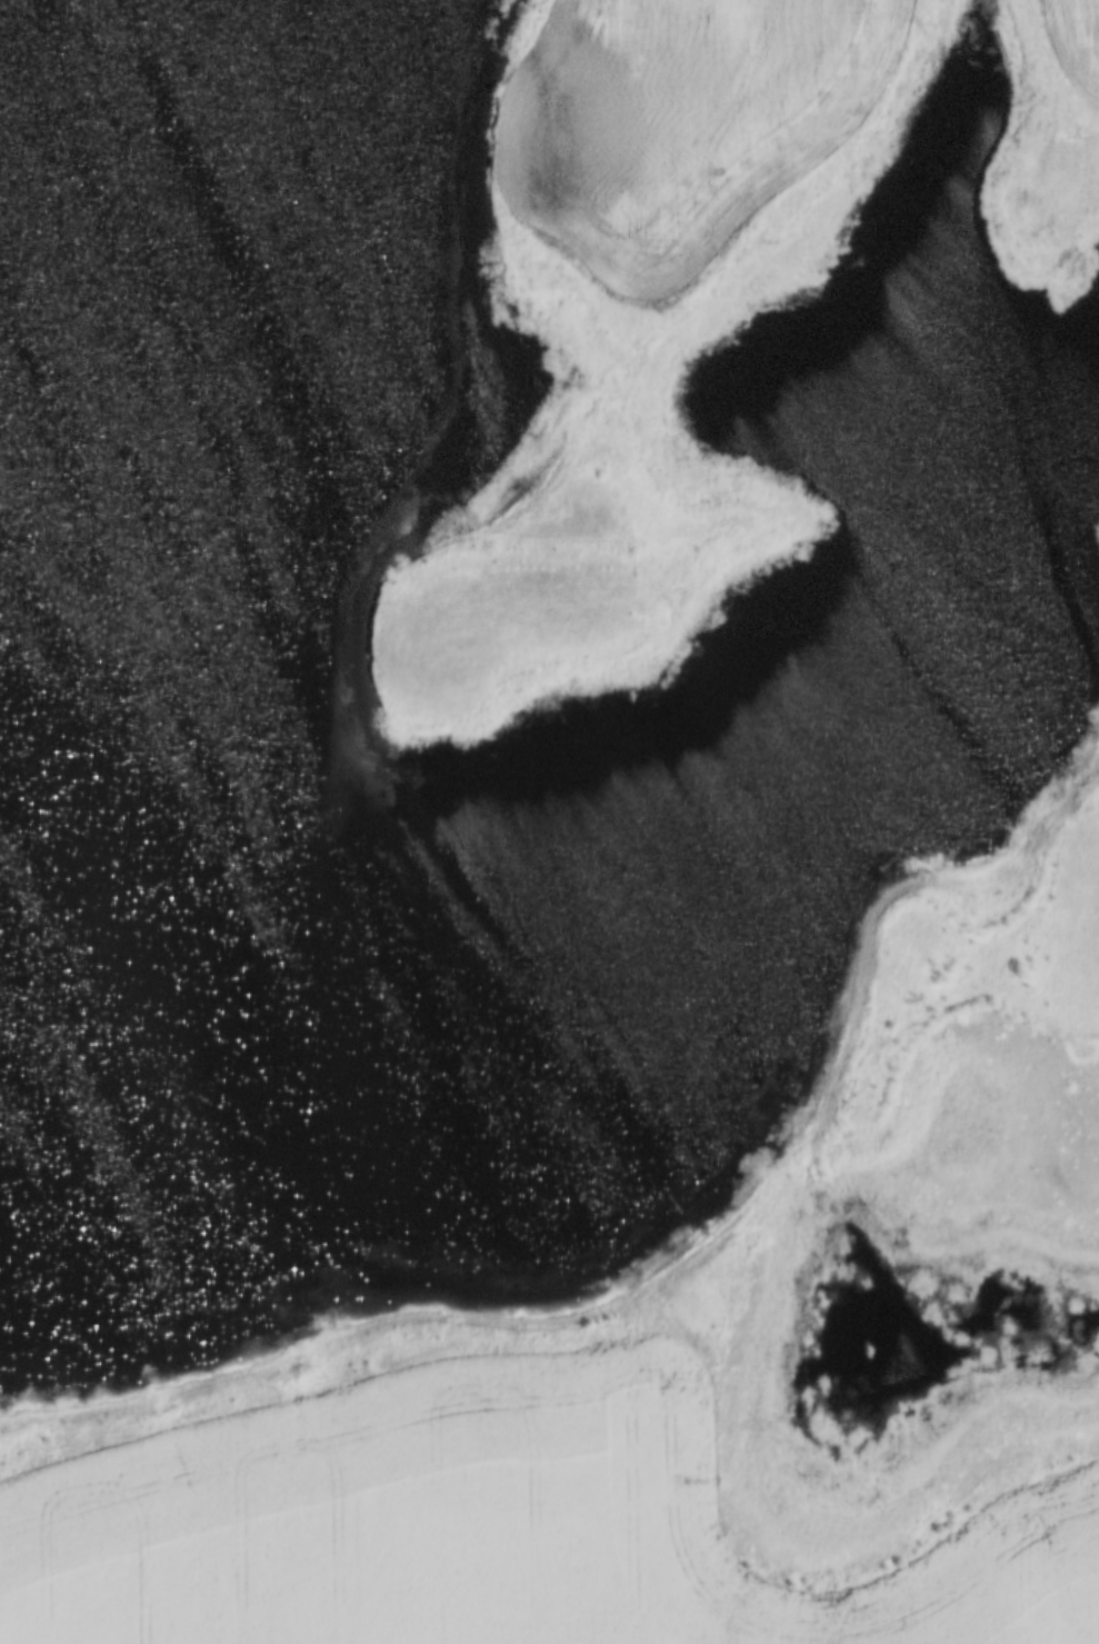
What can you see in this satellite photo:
road: (134, 1485)

